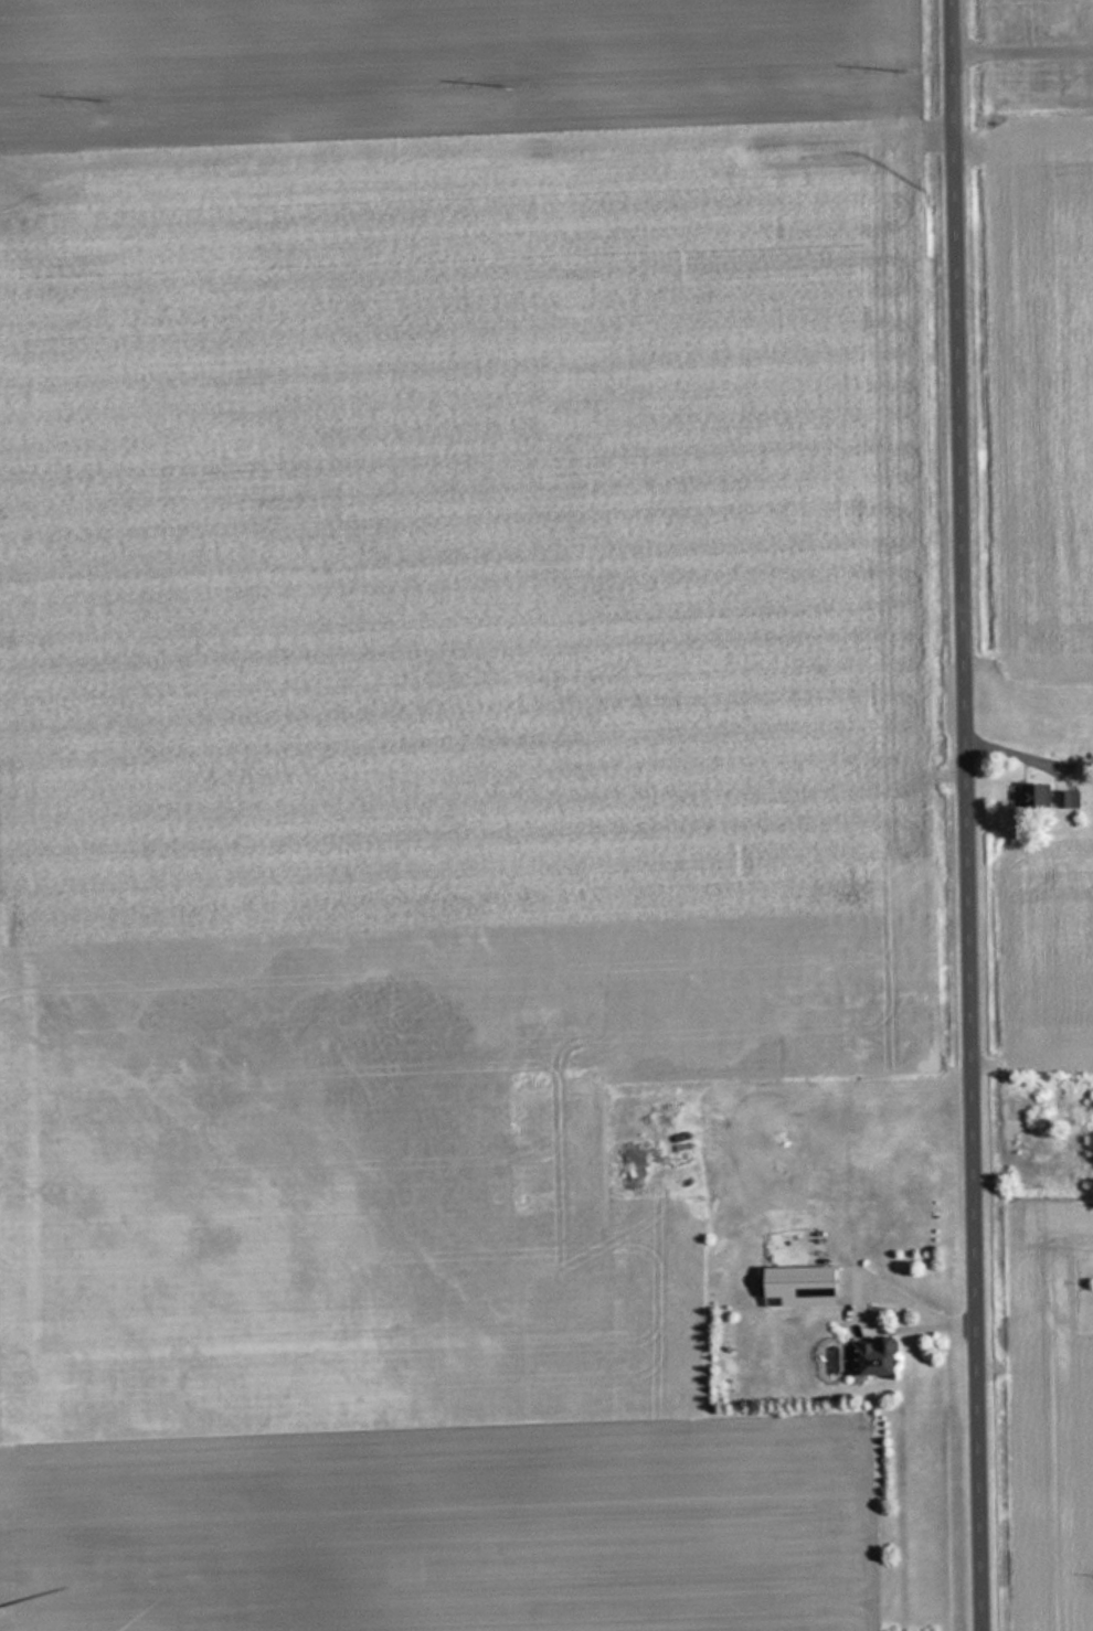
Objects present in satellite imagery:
building: (1048, 796)
road: (973, 815)
building: (807, 1286)
building: (880, 1360)

